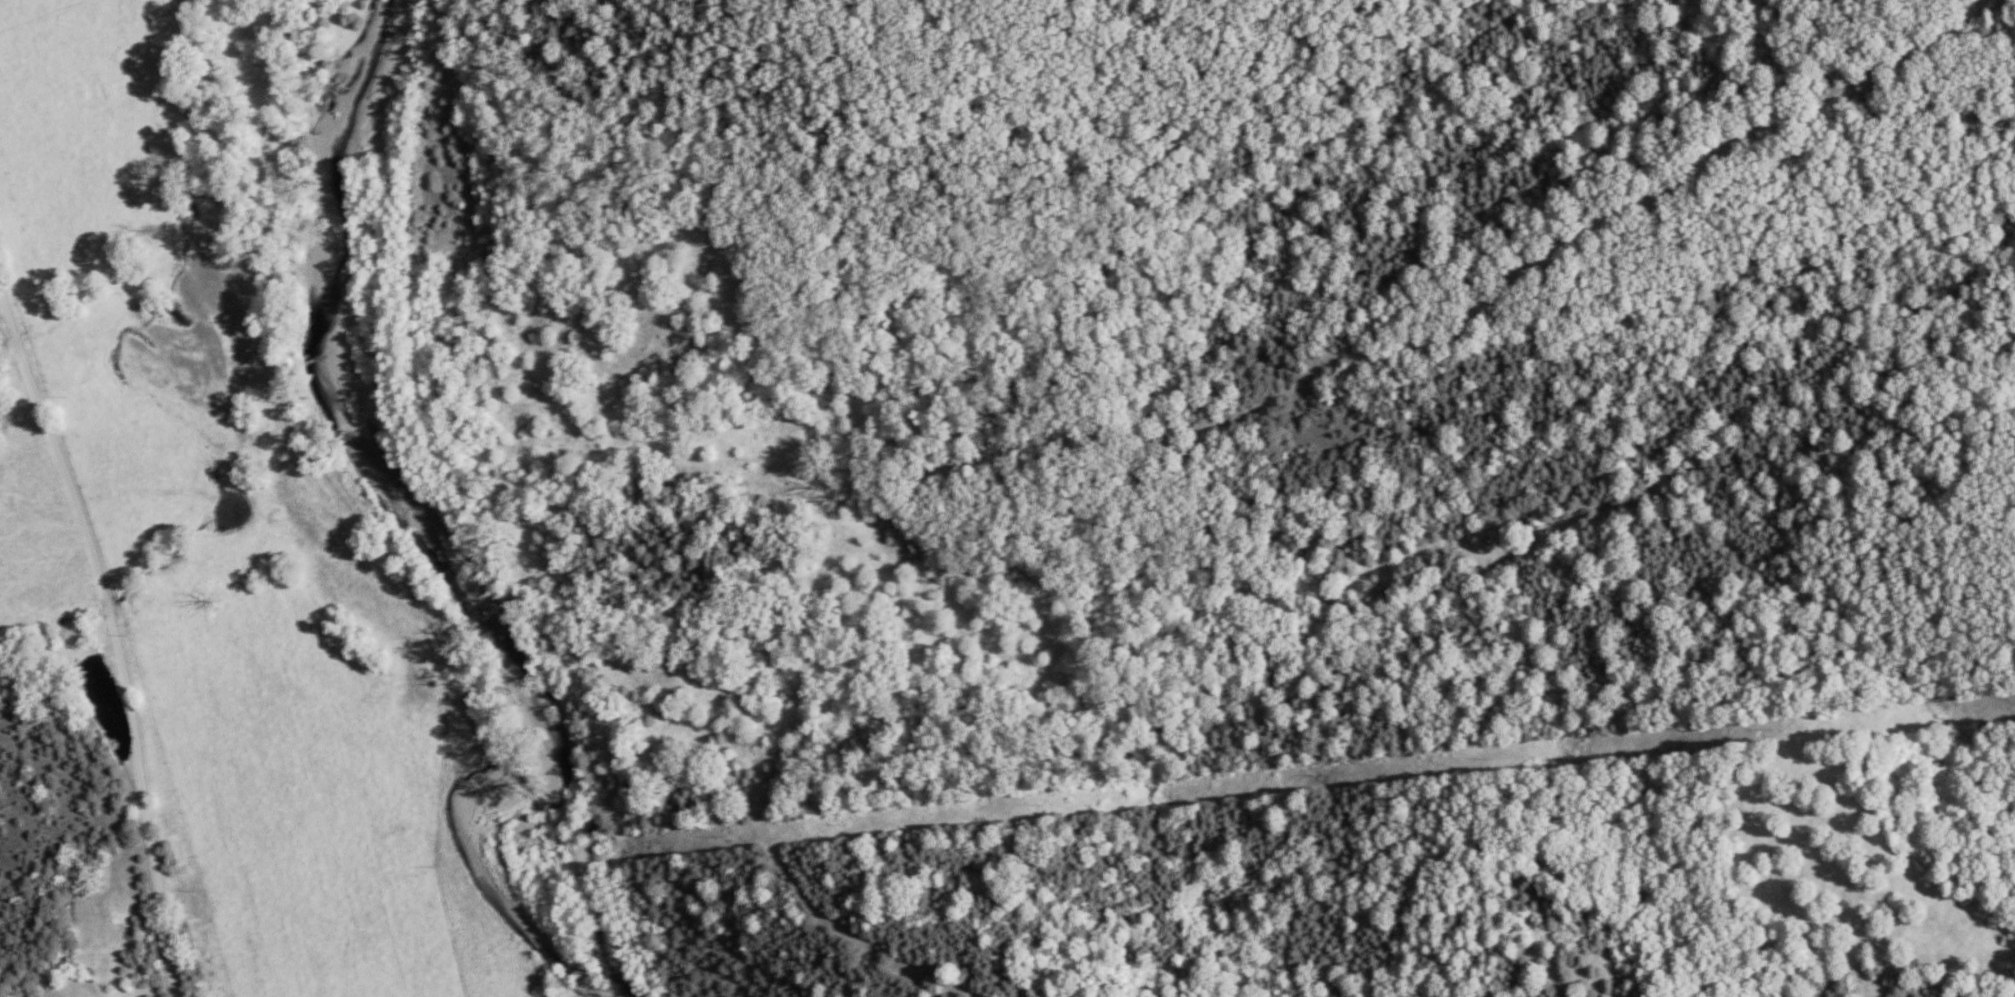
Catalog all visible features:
river: (436, 511)
road: (121, 626)

